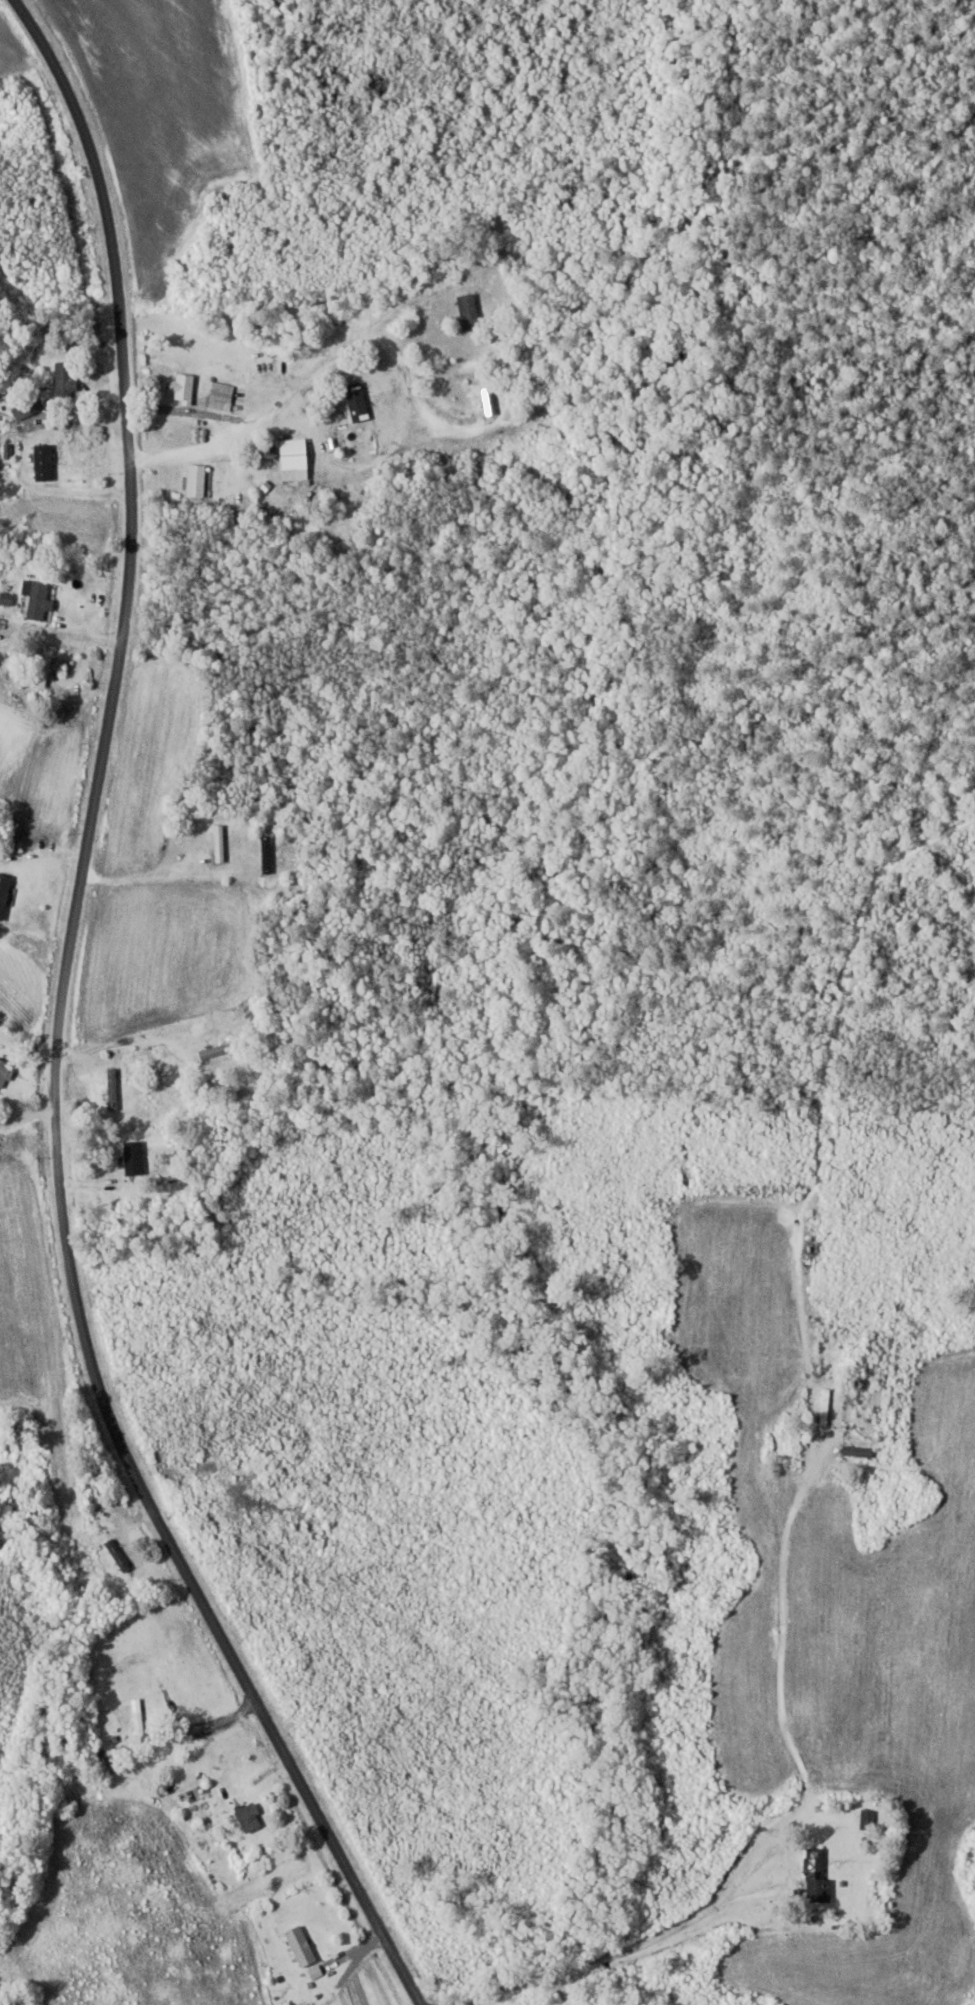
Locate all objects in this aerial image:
road: (412, 299)
building: (471, 311)
building: (67, 380)
building: (184, 389)
building: (223, 397)
building: (359, 402)
building: (26, 410)
building: (296, 454)
building: (45, 457)
building: (198, 480)
building: (8, 598)
building: (39, 600)
building: (46, 668)
building: (220, 843)
building: (5, 894)
building: (1, 1018)
road: (61, 1032)
building: (220, 1051)
building: (4, 1073)
road: (29, 1111)
building: (135, 1159)
building: (826, 1406)
building: (858, 1451)
building: (118, 1556)
building: (139, 1716)
building: (251, 1819)
building: (868, 1820)
building: (818, 1878)
building: (302, 1947)
road: (624, 1955)

